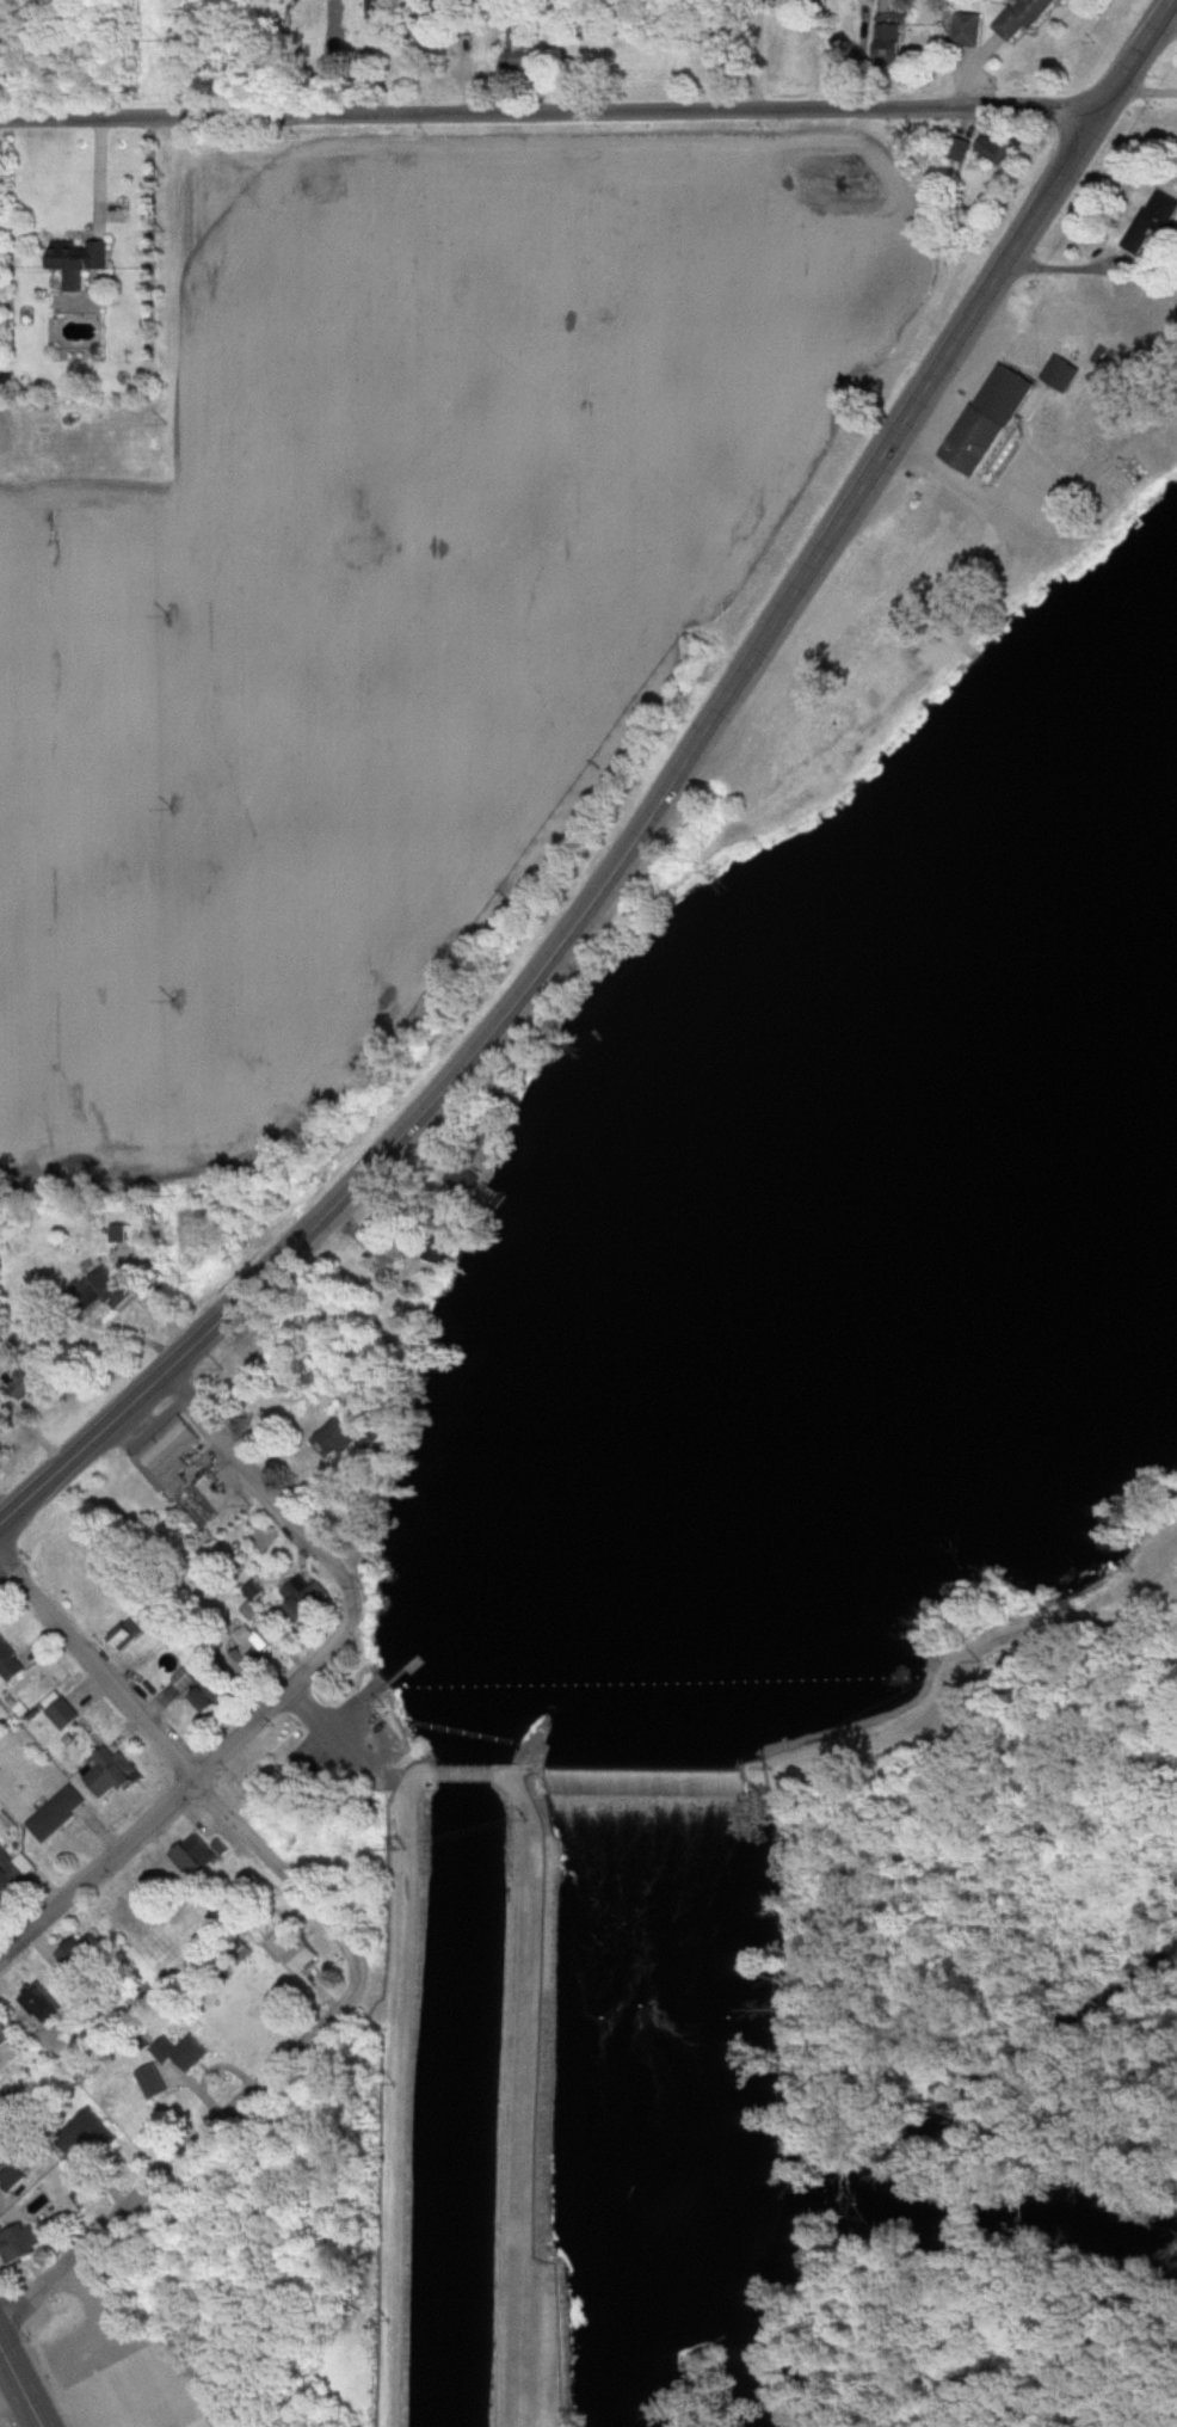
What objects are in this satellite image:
building: (386, 10)
building: (1023, 18)
building: (969, 30)
building: (892, 42)
building: (529, 53)
road: (550, 113)
building: (959, 149)
building: (999, 149)
building: (1153, 221)
building: (78, 260)
building: (1056, 373)
building: (991, 419)
road: (797, 583)
building: (101, 1290)
road: (199, 1342)
building: (20, 1383)
building: (350, 1442)
building: (168, 1457)
road: (276, 1503)
building: (201, 1510)
building: (322, 1597)
building: (259, 1630)
building: (125, 1638)
road: (1152, 1645)
river: (697, 1659)
building: (10, 1664)
building: (211, 1688)
building: (63, 1715)
road: (191, 1763)
building: (113, 1772)
dam: (606, 1780)
road: (181, 1805)
building: (58, 1813)
building: (196, 1855)
building: (14, 1867)
building: (290, 1949)
building: (87, 1958)
building: (45, 2003)
building: (7, 2034)
building: (180, 2052)
building: (148, 2082)
building: (8, 2099)
building: (94, 2132)
road: (172, 2161)
building: (8, 2175)
building: (18, 2245)
park: (858, 2370)
road: (7, 2385)
road: (19, 2389)

